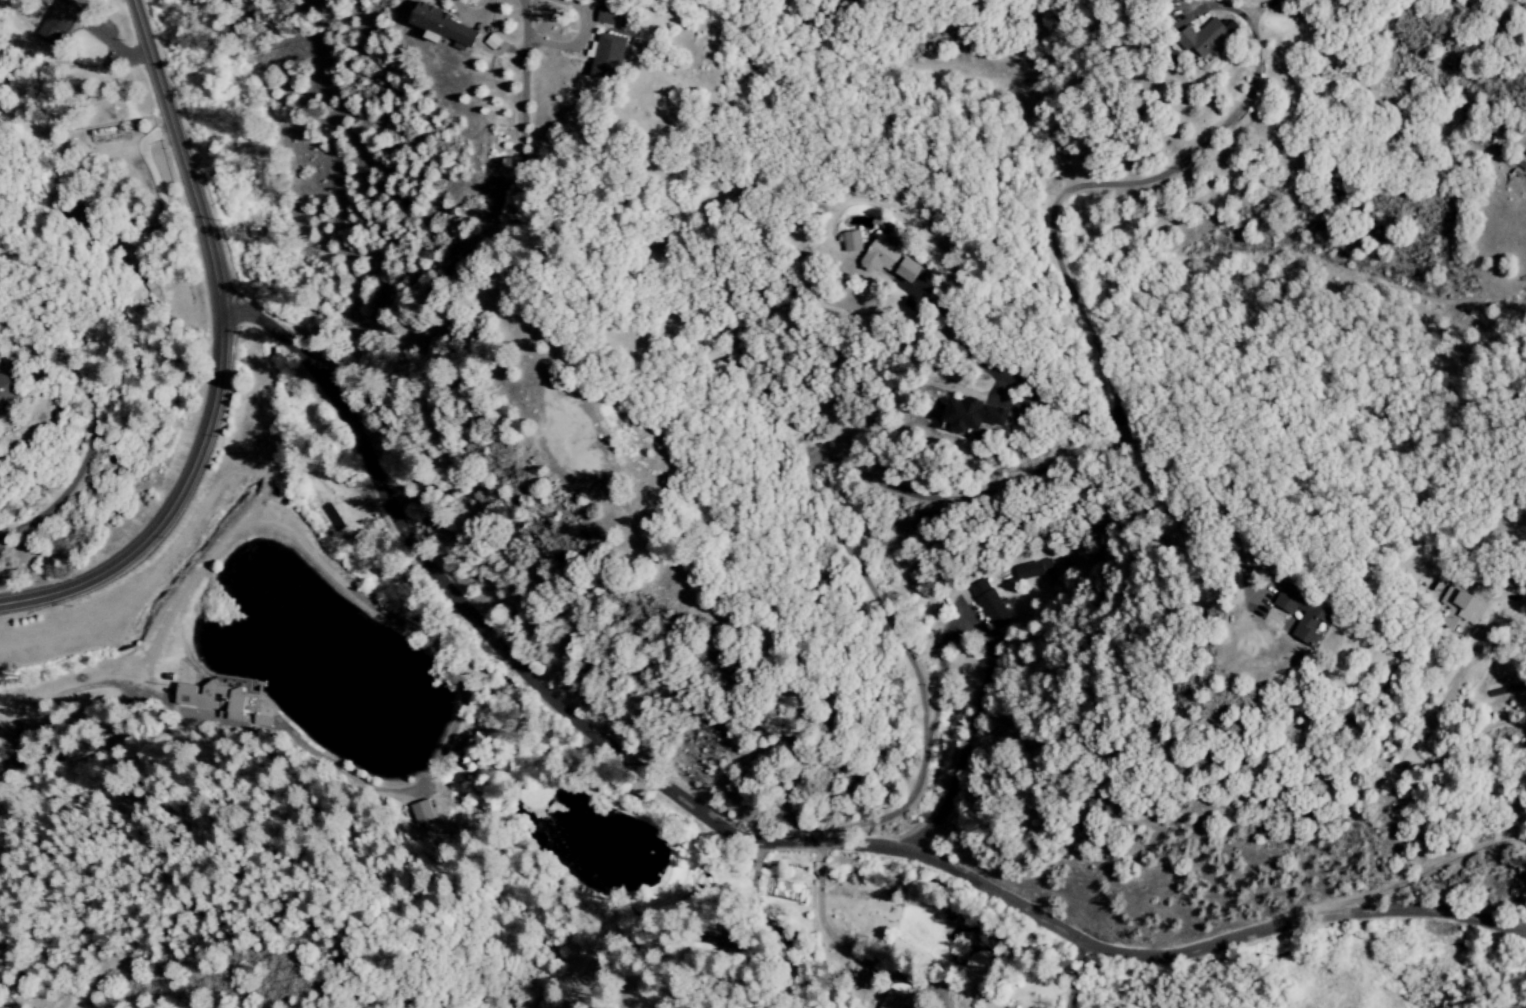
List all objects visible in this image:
road: (1194, 4)
road: (1262, 10)
road: (472, 14)
building: (608, 15)
building: (54, 27)
building: (445, 29)
building: (1206, 37)
road: (580, 38)
road: (113, 45)
building: (608, 57)
road: (524, 63)
road: (143, 145)
building: (852, 242)
building: (893, 260)
road: (515, 291)
road: (218, 354)
building: (7, 389)
building: (974, 415)
road: (992, 496)
road: (69, 498)
building: (1031, 569)
building: (990, 604)
building: (1468, 606)
building: (1319, 612)
road: (987, 677)
building: (216, 699)
building: (423, 812)
road: (768, 844)
road: (755, 856)
road: (752, 877)
road: (752, 894)
road: (819, 919)
road: (1069, 980)
building: (890, 999)
road: (919, 1007)

